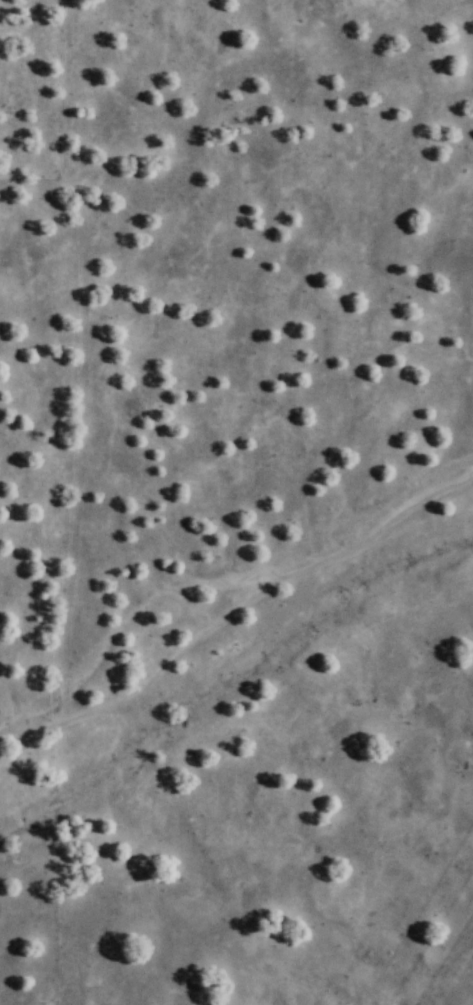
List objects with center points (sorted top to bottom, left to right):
road: (230, 617)

